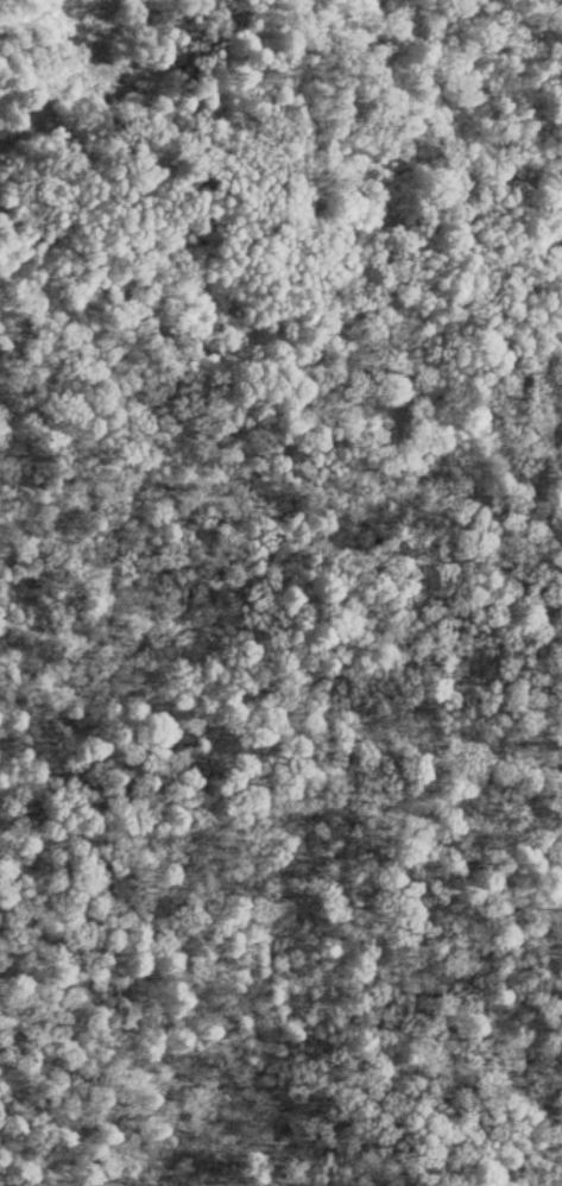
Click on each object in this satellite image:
road: (303, 280)

